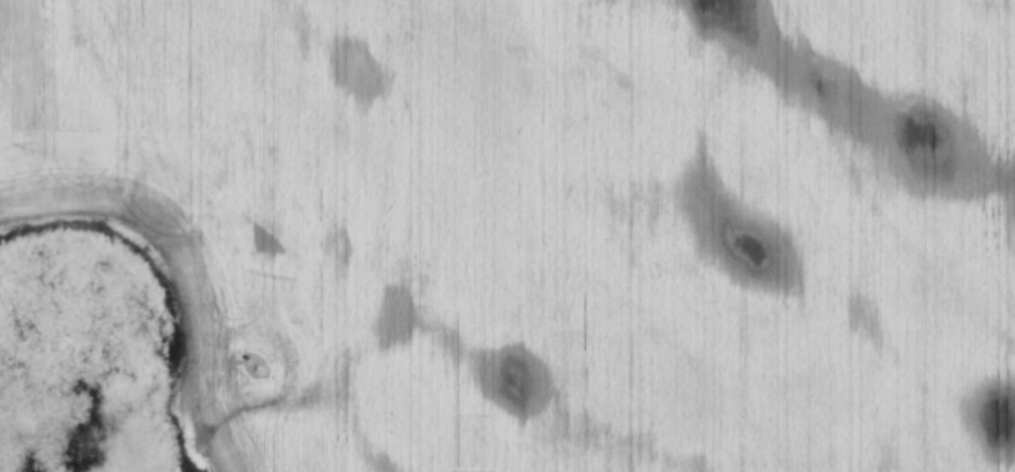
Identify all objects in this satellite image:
crop: (541, 226)

